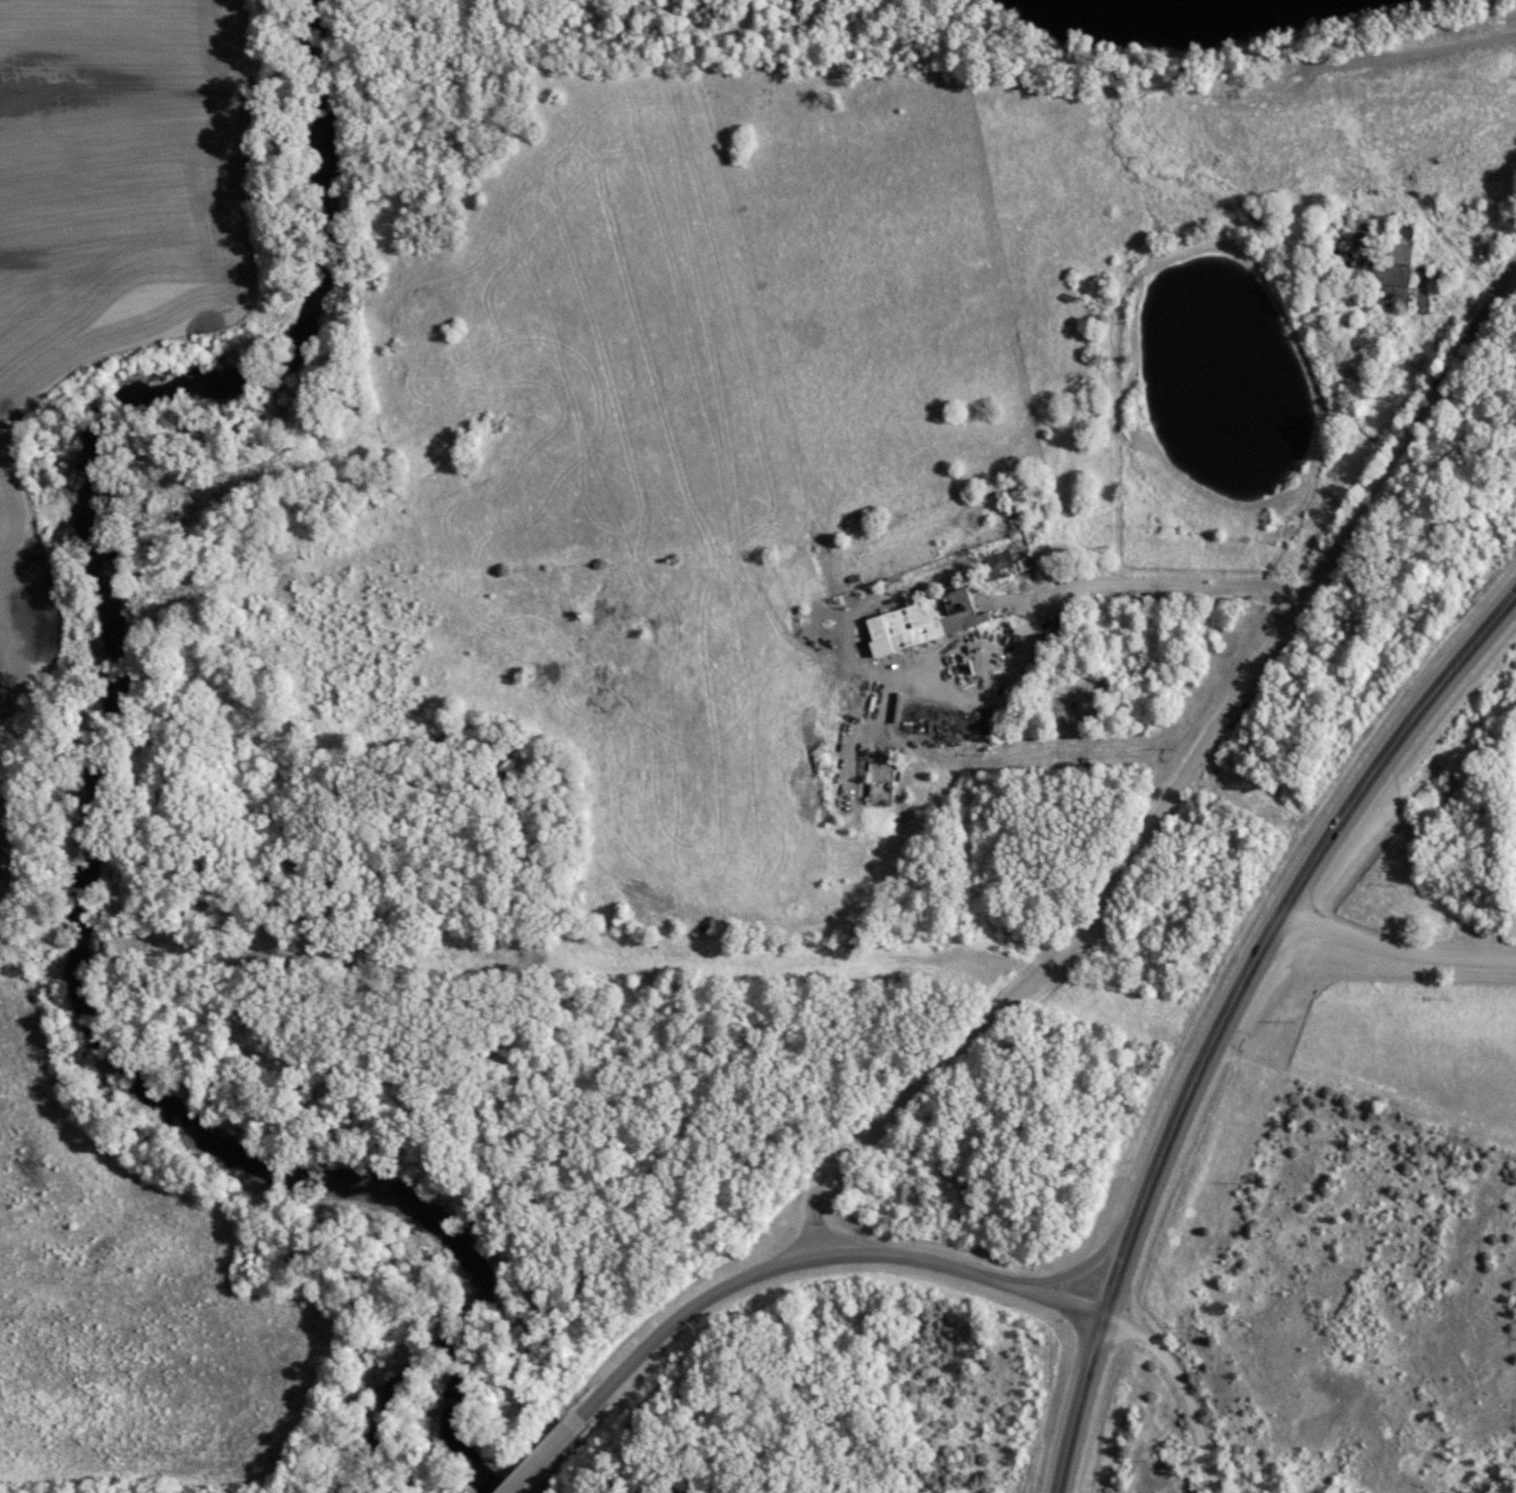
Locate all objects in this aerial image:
building: (996, 559)
road: (1066, 590)
building: (920, 620)
road: (1066, 947)
road: (1396, 952)
road: (1228, 1014)
road: (959, 1270)
road: (1183, 1387)

